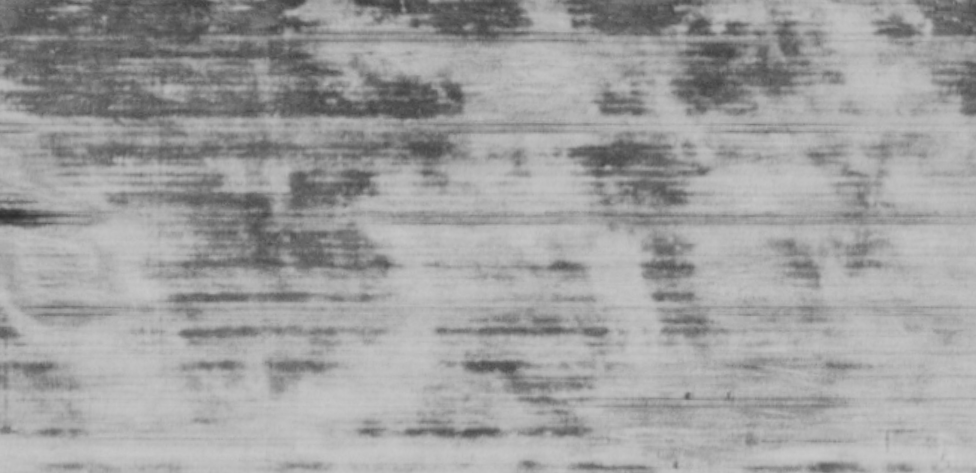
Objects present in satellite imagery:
crop: (488, 236)

